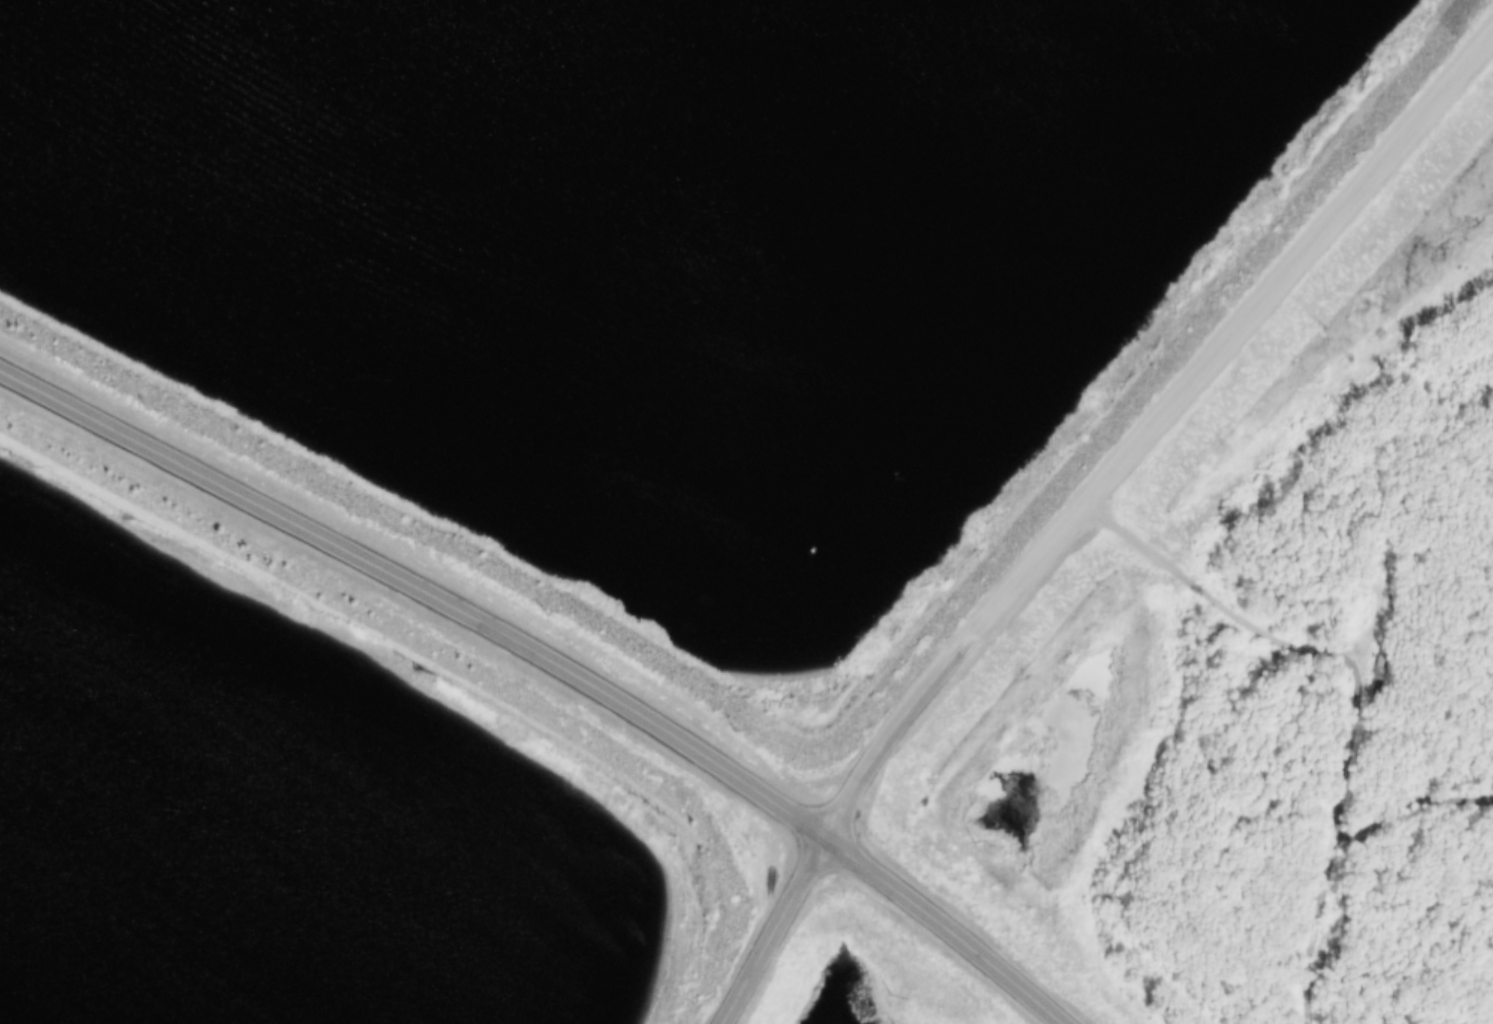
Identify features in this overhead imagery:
road: (1217, 310)
building: (1387, 567)
road: (577, 624)
building: (1371, 677)
road: (781, 810)

